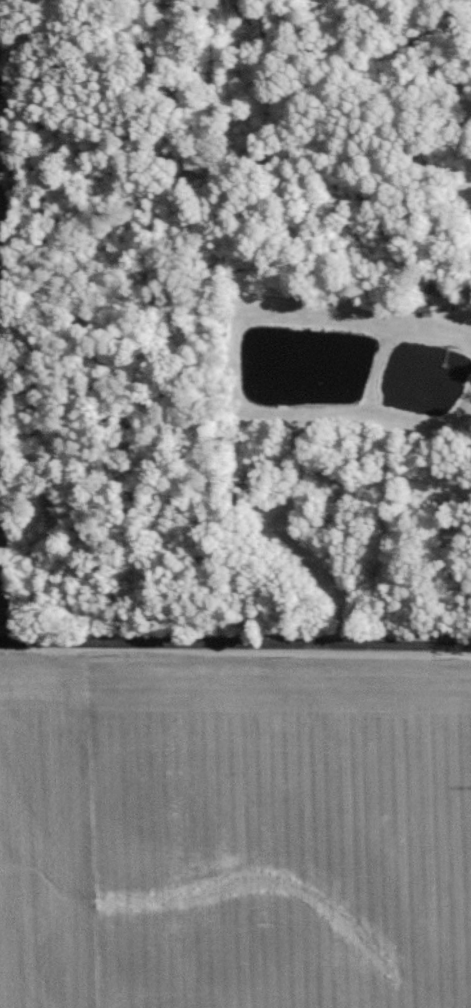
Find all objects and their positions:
road: (235, 641)

